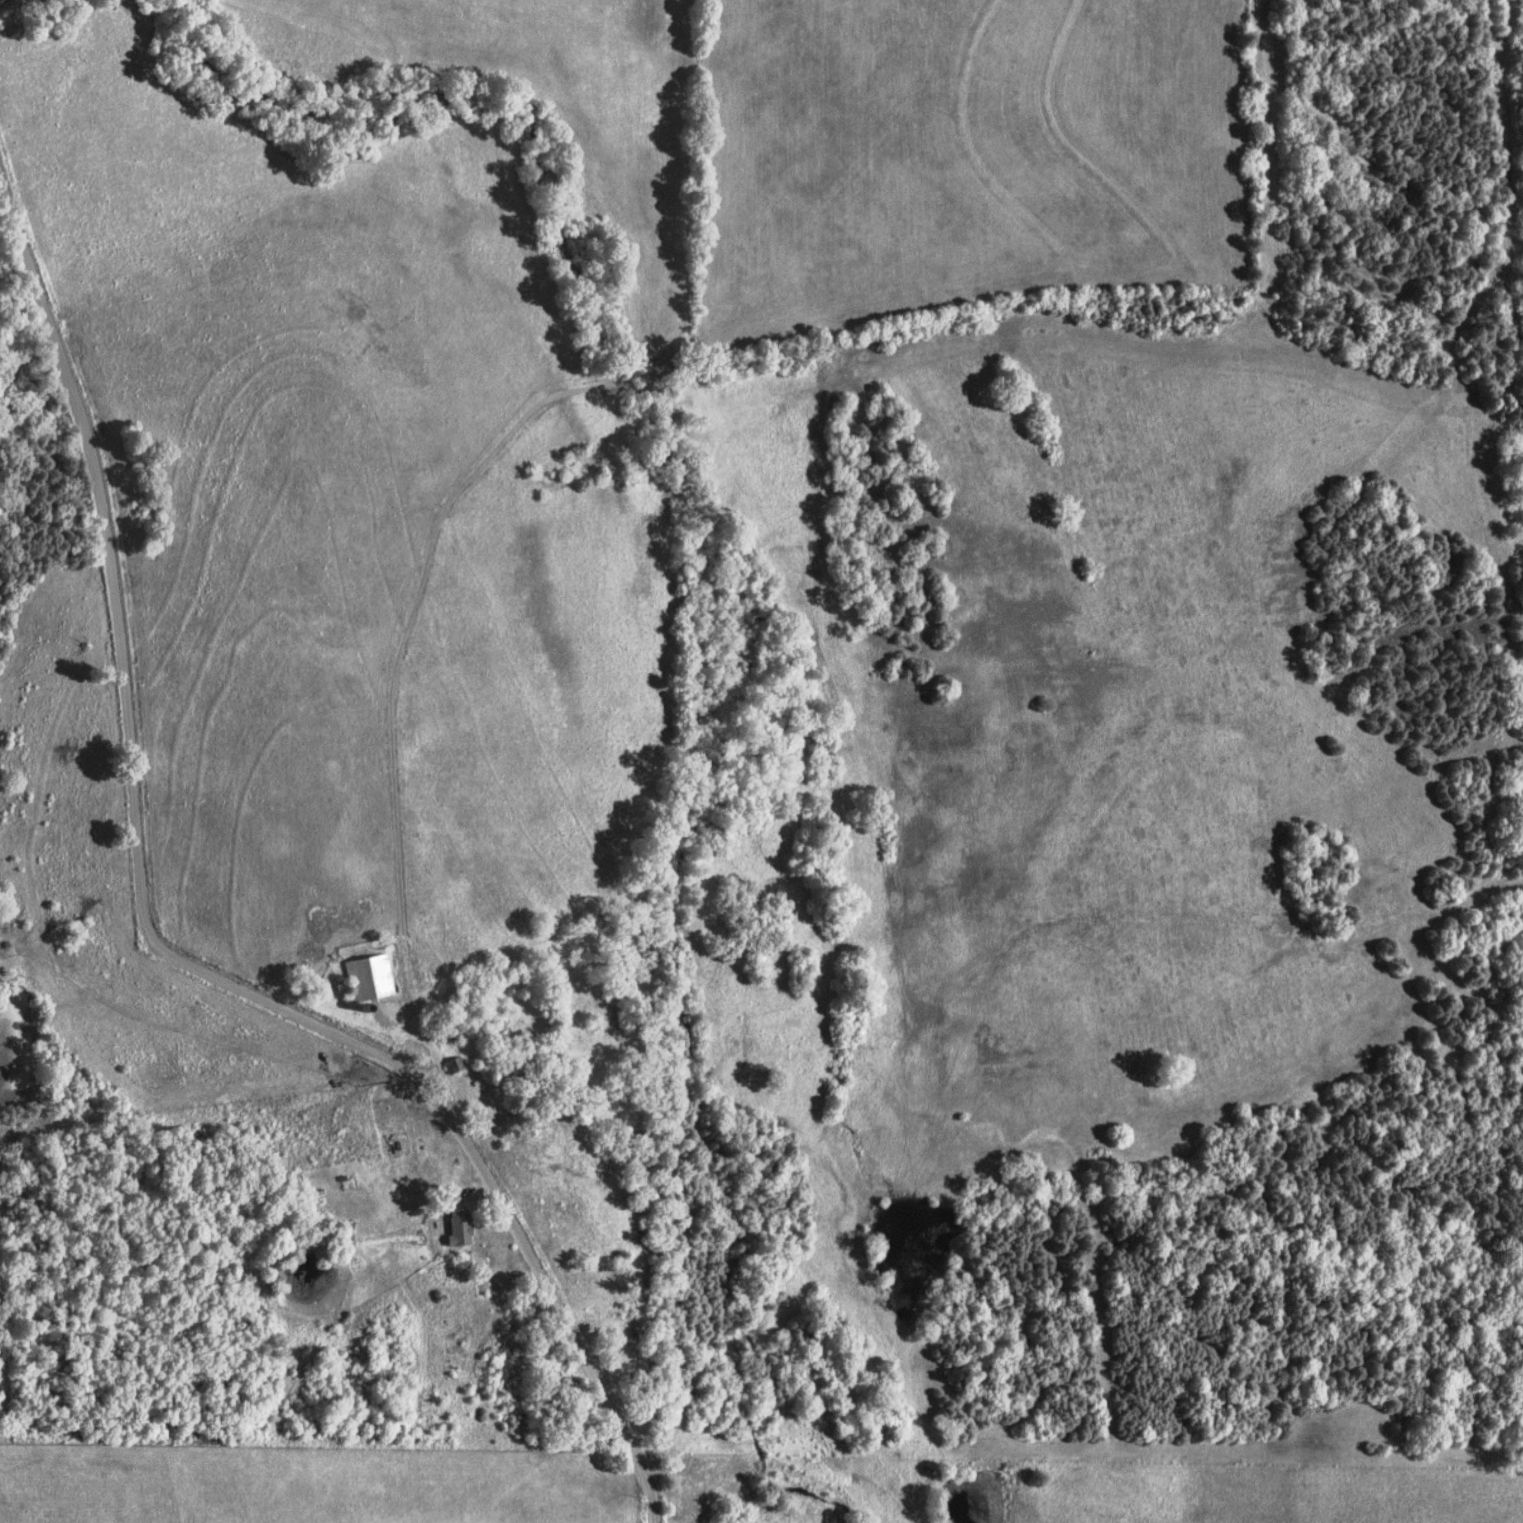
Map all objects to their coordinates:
road: (154, 947)
building: (371, 979)
road: (430, 1048)
building: (461, 1227)

